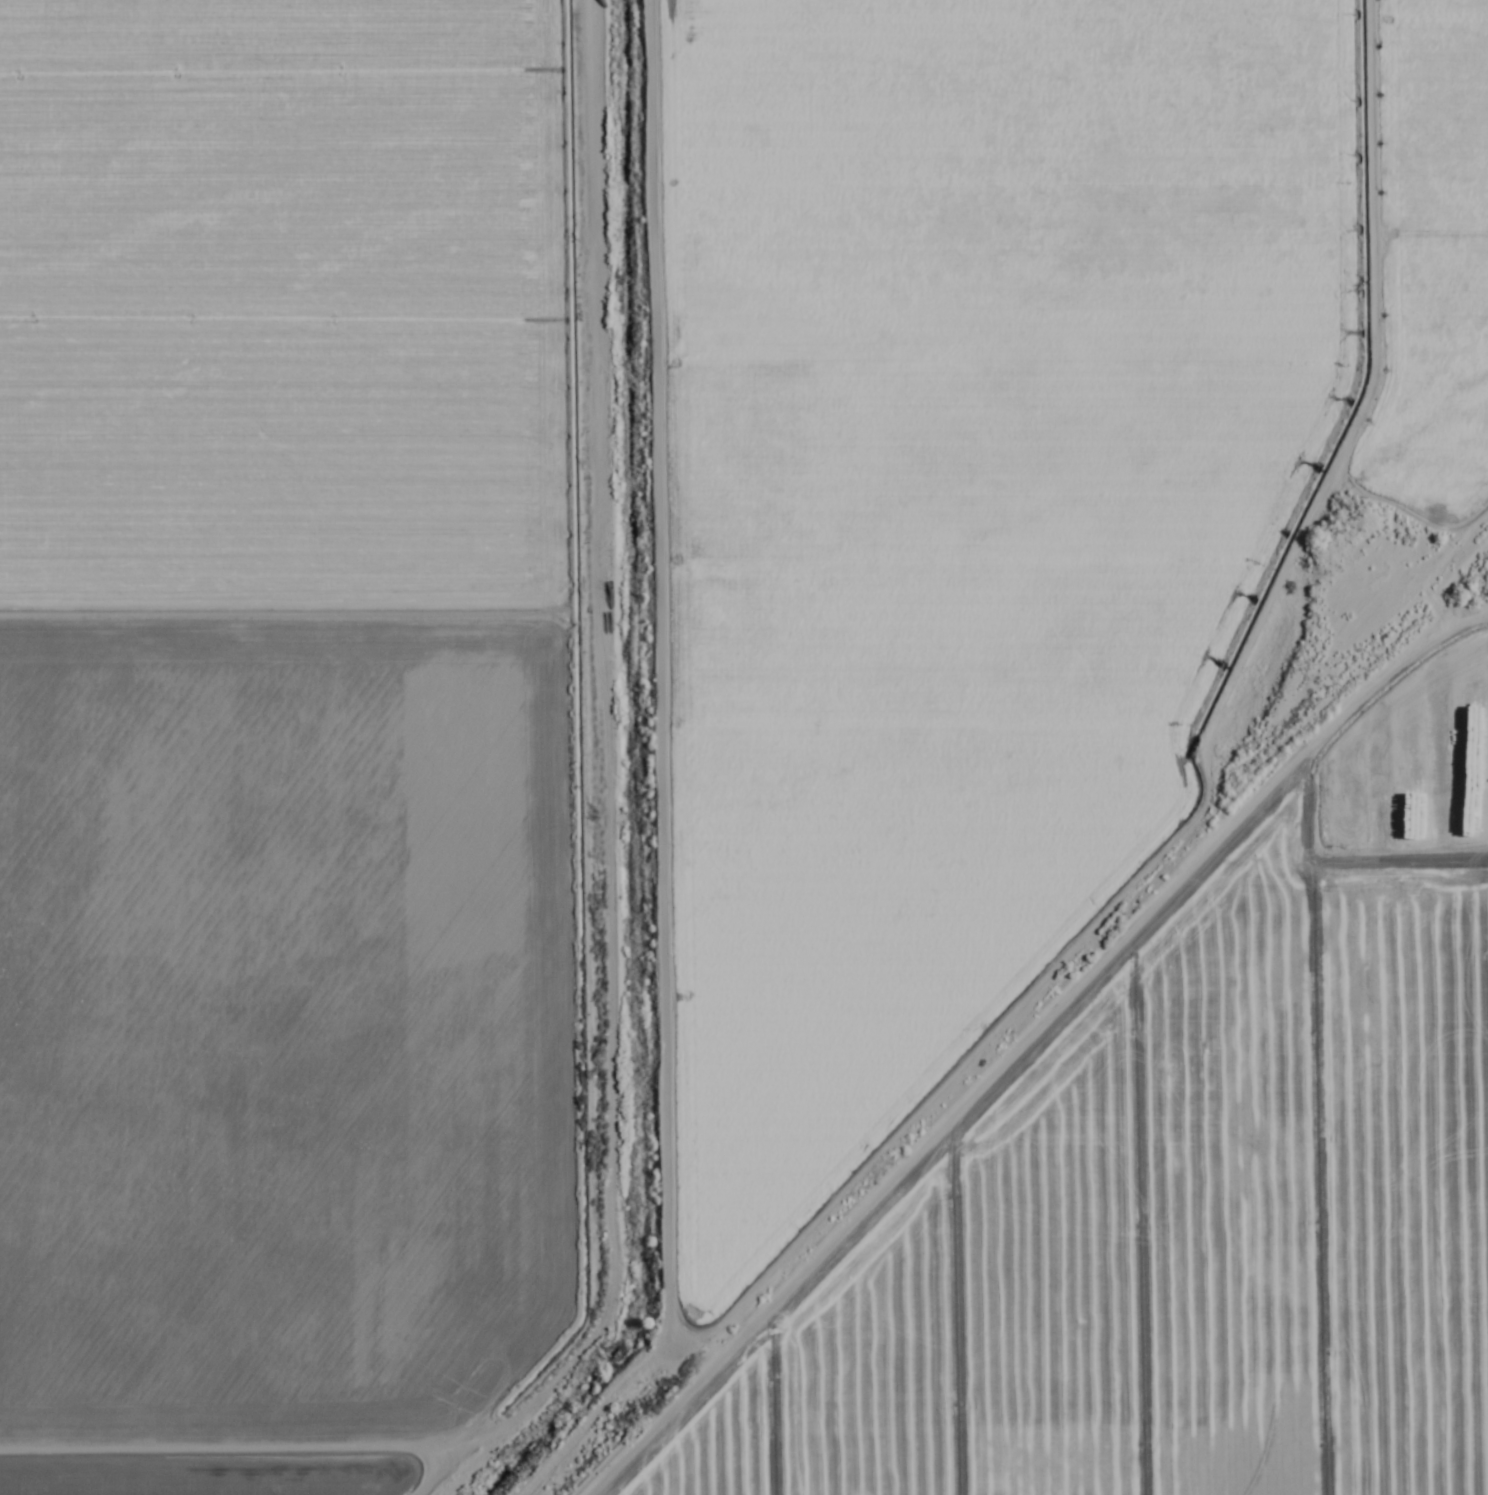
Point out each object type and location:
crop: (744, 747)

